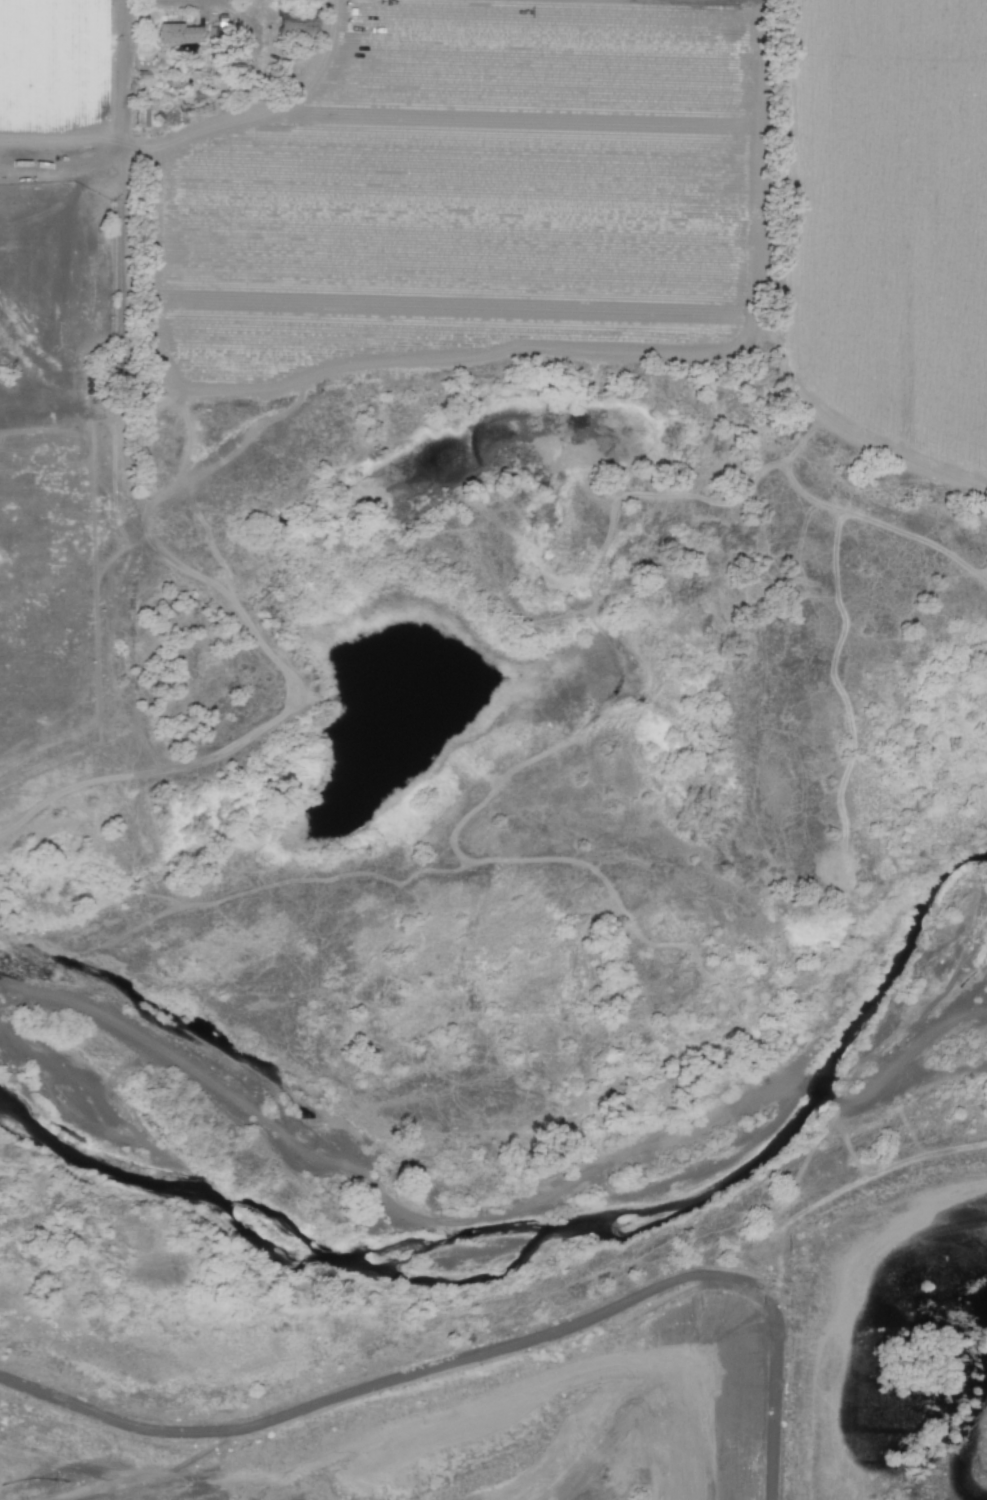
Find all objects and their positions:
building: (178, 34)
road: (253, 64)
road: (62, 145)
road: (149, 255)
road: (77, 513)
river: (520, 1190)
quarry: (461, 1436)

